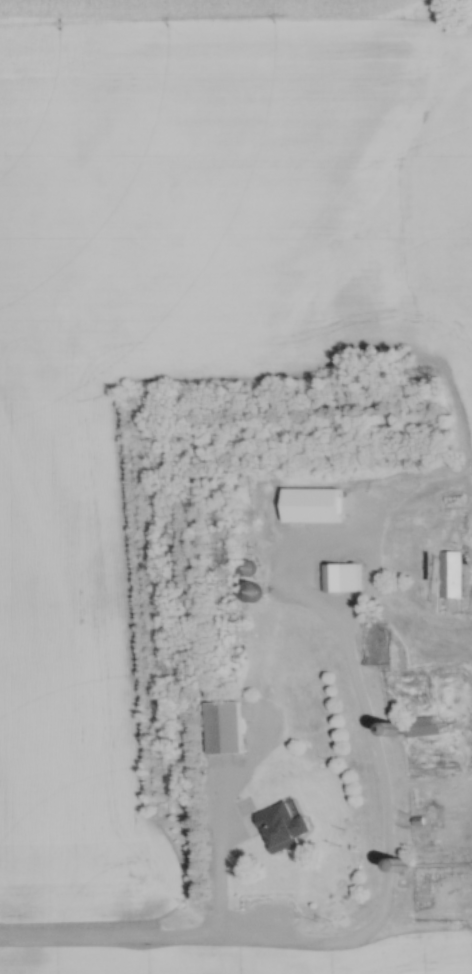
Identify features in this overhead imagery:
building: (256, 542)
building: (246, 567)
building: (448, 573)
building: (339, 577)
building: (248, 591)
building: (410, 726)
building: (223, 727)
building: (275, 827)
building: (401, 864)
road: (216, 880)
road: (372, 927)

